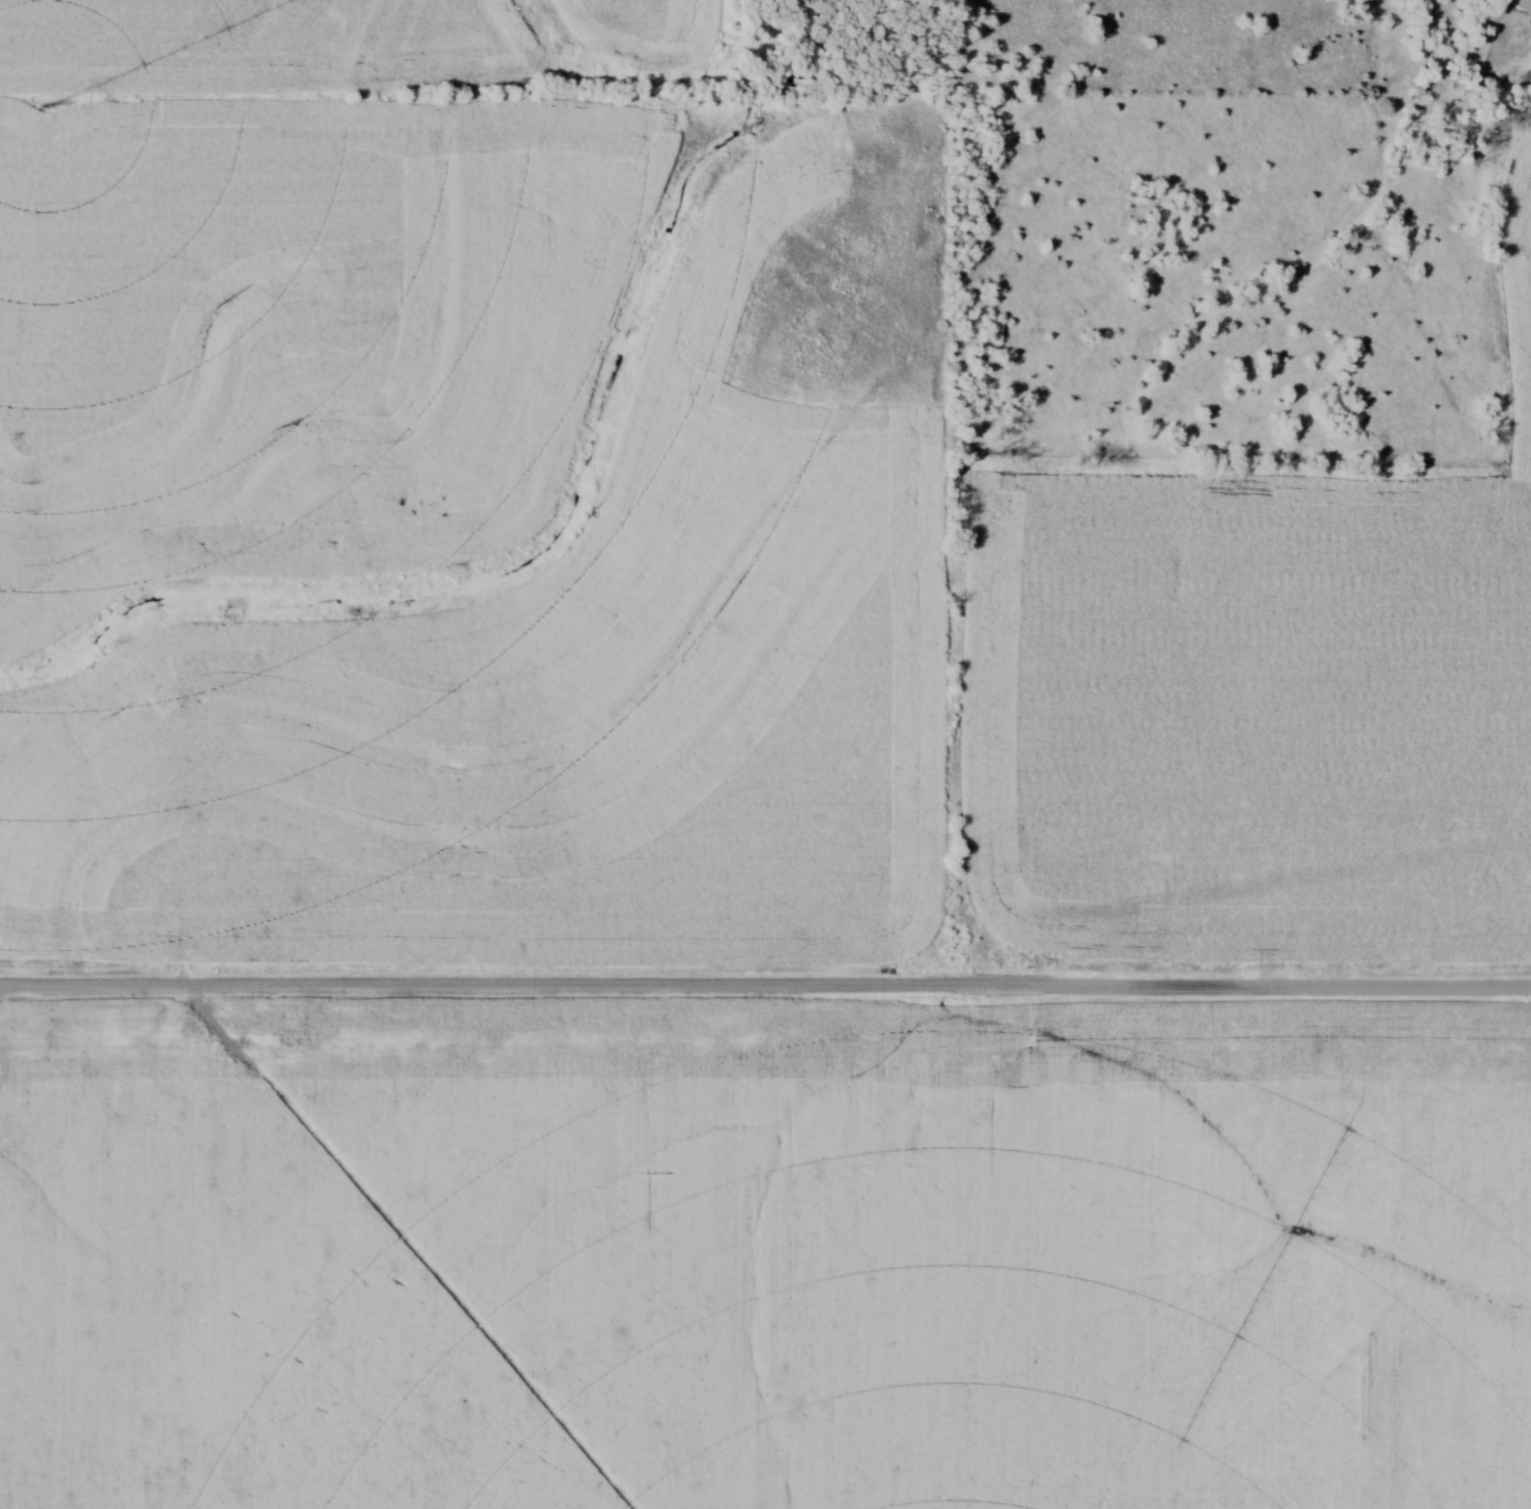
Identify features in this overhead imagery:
road: (765, 985)

